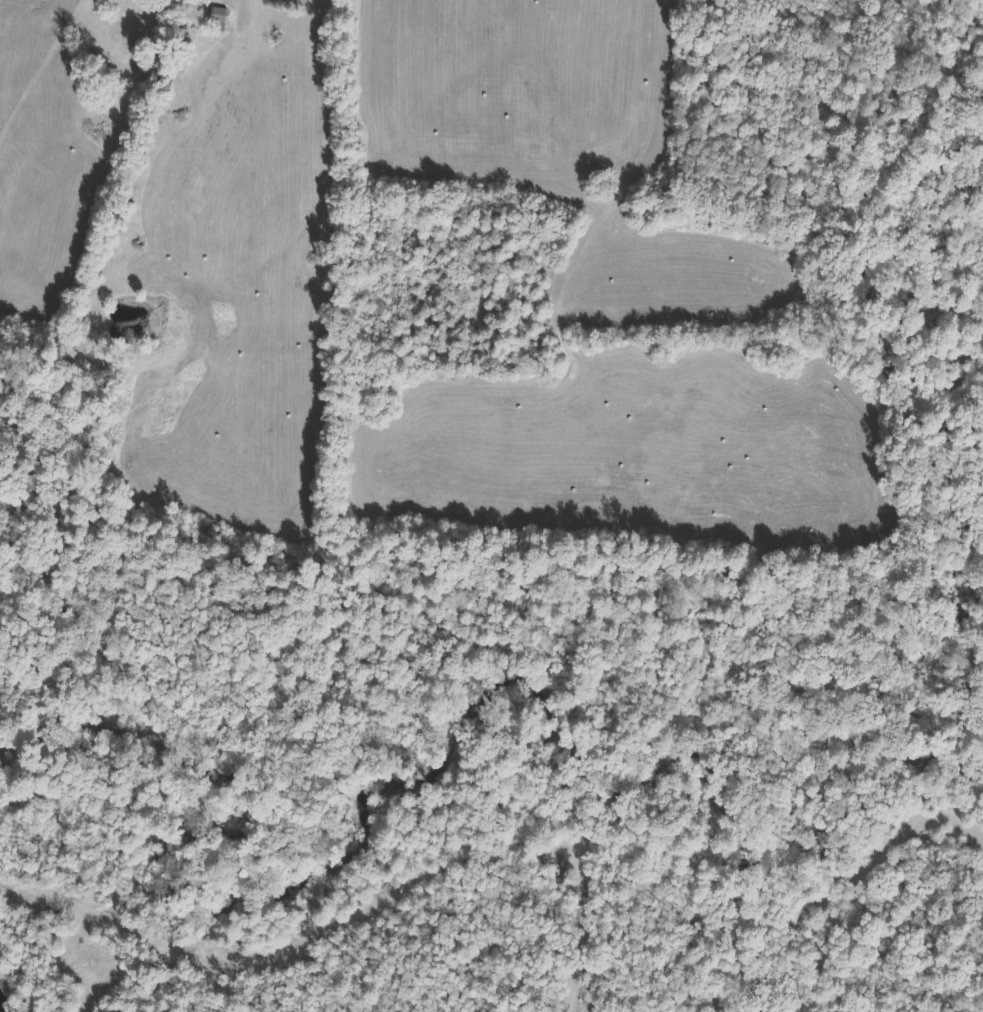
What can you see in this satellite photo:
building: (219, 21)
park: (150, 82)

